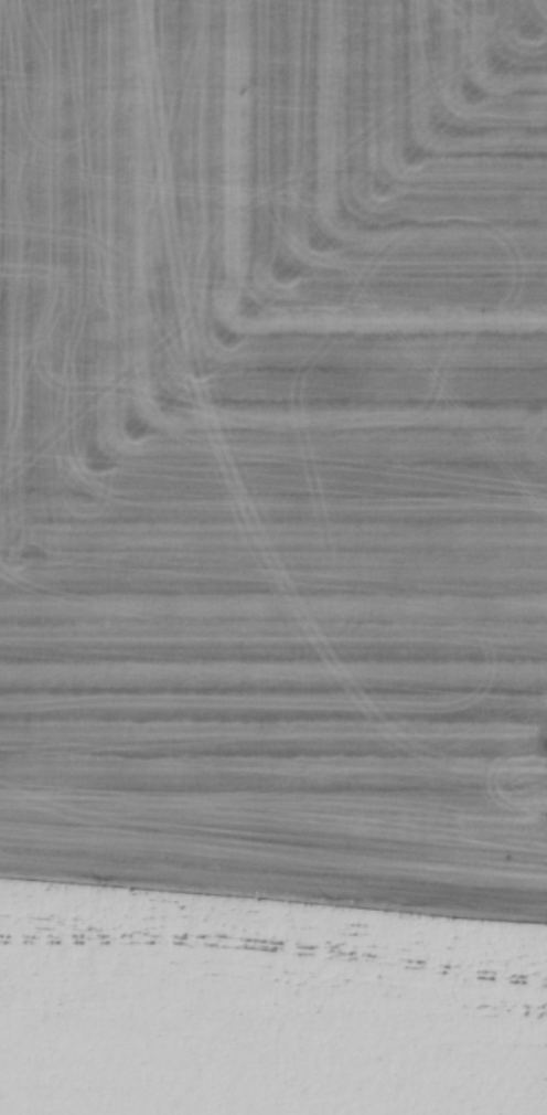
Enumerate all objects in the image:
road: (272, 883)

